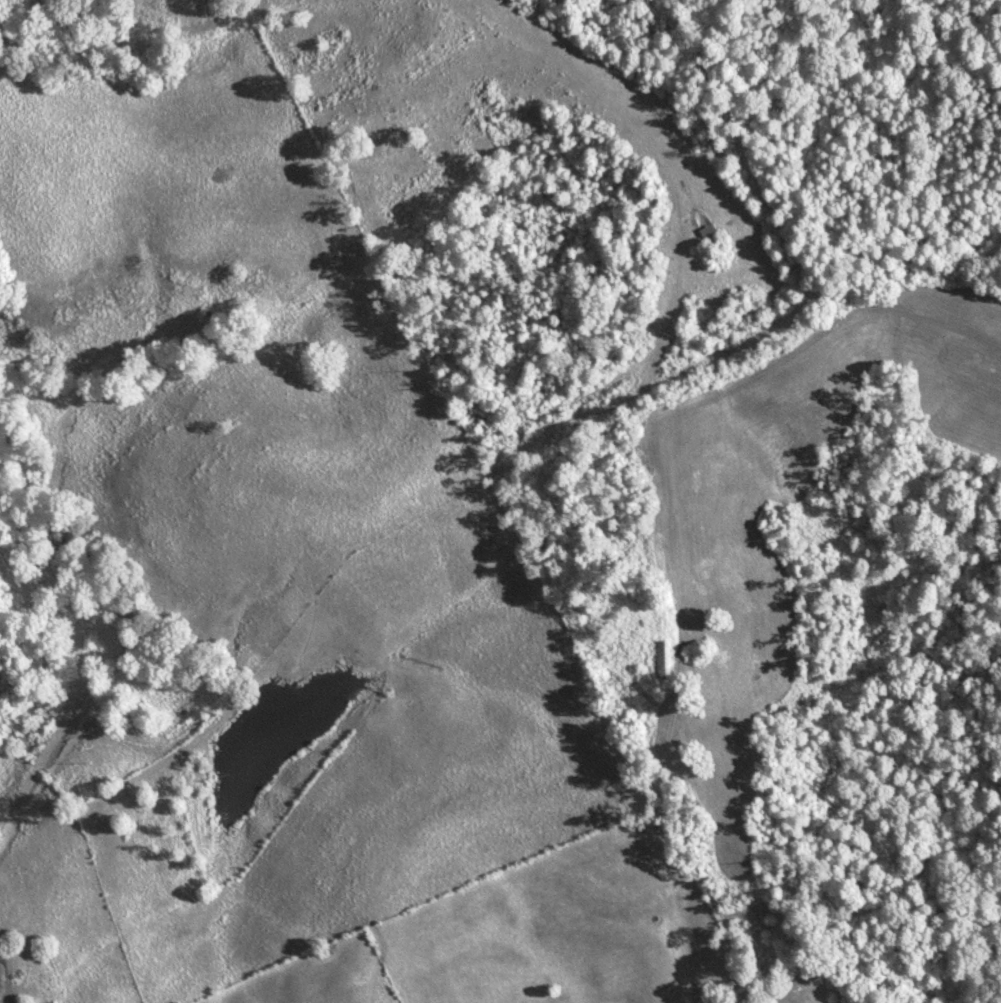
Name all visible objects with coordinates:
building: (803, 980)
road: (710, 986)

